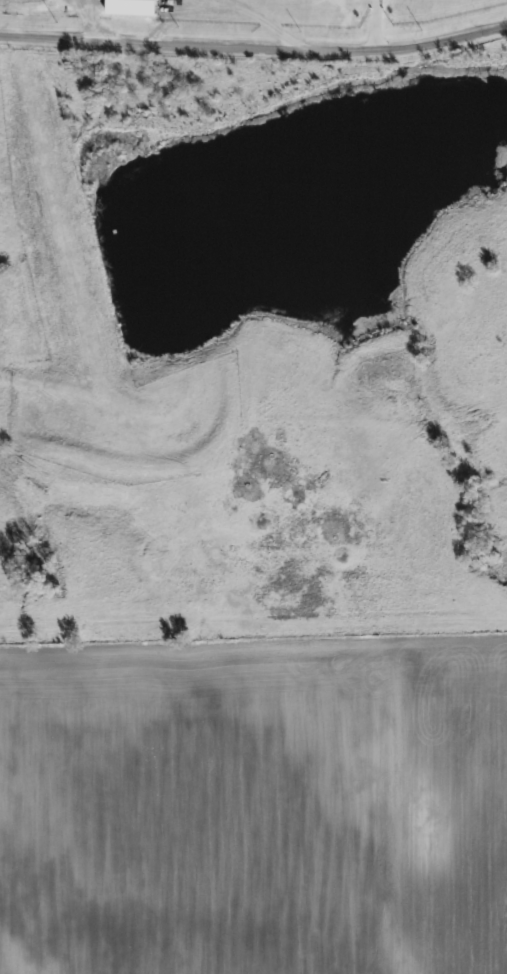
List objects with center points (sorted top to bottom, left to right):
road: (376, 24)
road: (254, 48)

